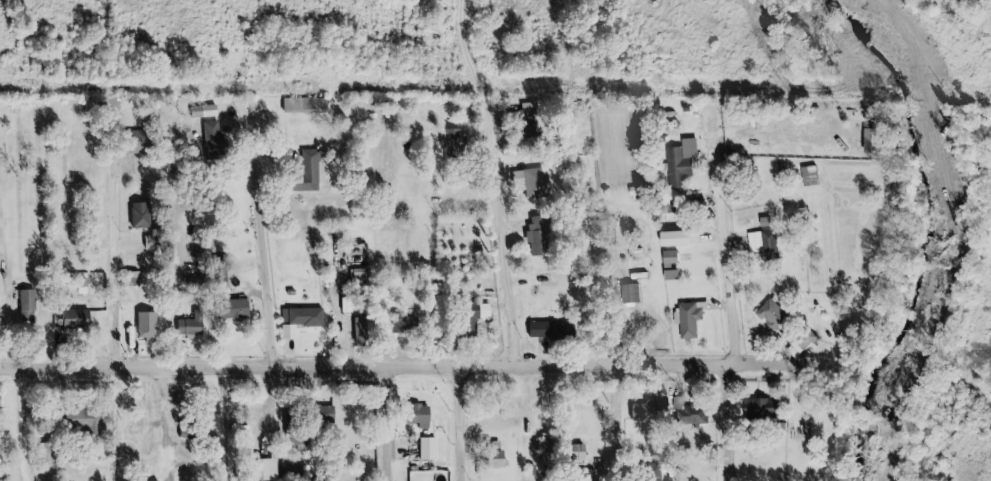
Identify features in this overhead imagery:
building: (303, 106)
building: (202, 112)
building: (210, 138)
building: (681, 164)
building: (307, 170)
building: (809, 177)
road: (502, 180)
building: (538, 182)
building: (681, 209)
building: (138, 216)
building: (765, 224)
building: (535, 236)
road: (267, 239)
building: (605, 239)
building: (149, 243)
building: (766, 245)
road: (730, 254)
building: (669, 262)
road: (118, 263)
building: (190, 285)
building: (629, 295)
road: (179, 301)
building: (25, 308)
building: (231, 311)
building: (482, 311)
building: (774, 318)
building: (300, 319)
building: (690, 320)
building: (73, 321)
building: (464, 323)
building: (146, 327)
building: (405, 329)
building: (186, 330)
building: (364, 331)
building: (549, 331)
road: (15, 335)
building: (803, 339)
road: (390, 365)
building: (756, 410)
building: (644, 413)
building: (692, 415)
building: (417, 416)
building: (321, 418)
road: (731, 421)
road: (165, 422)
road: (465, 422)
building: (79, 423)
road: (389, 423)
road: (620, 423)
building: (193, 437)
building: (426, 450)
building: (548, 457)
building: (492, 459)
building: (258, 470)

